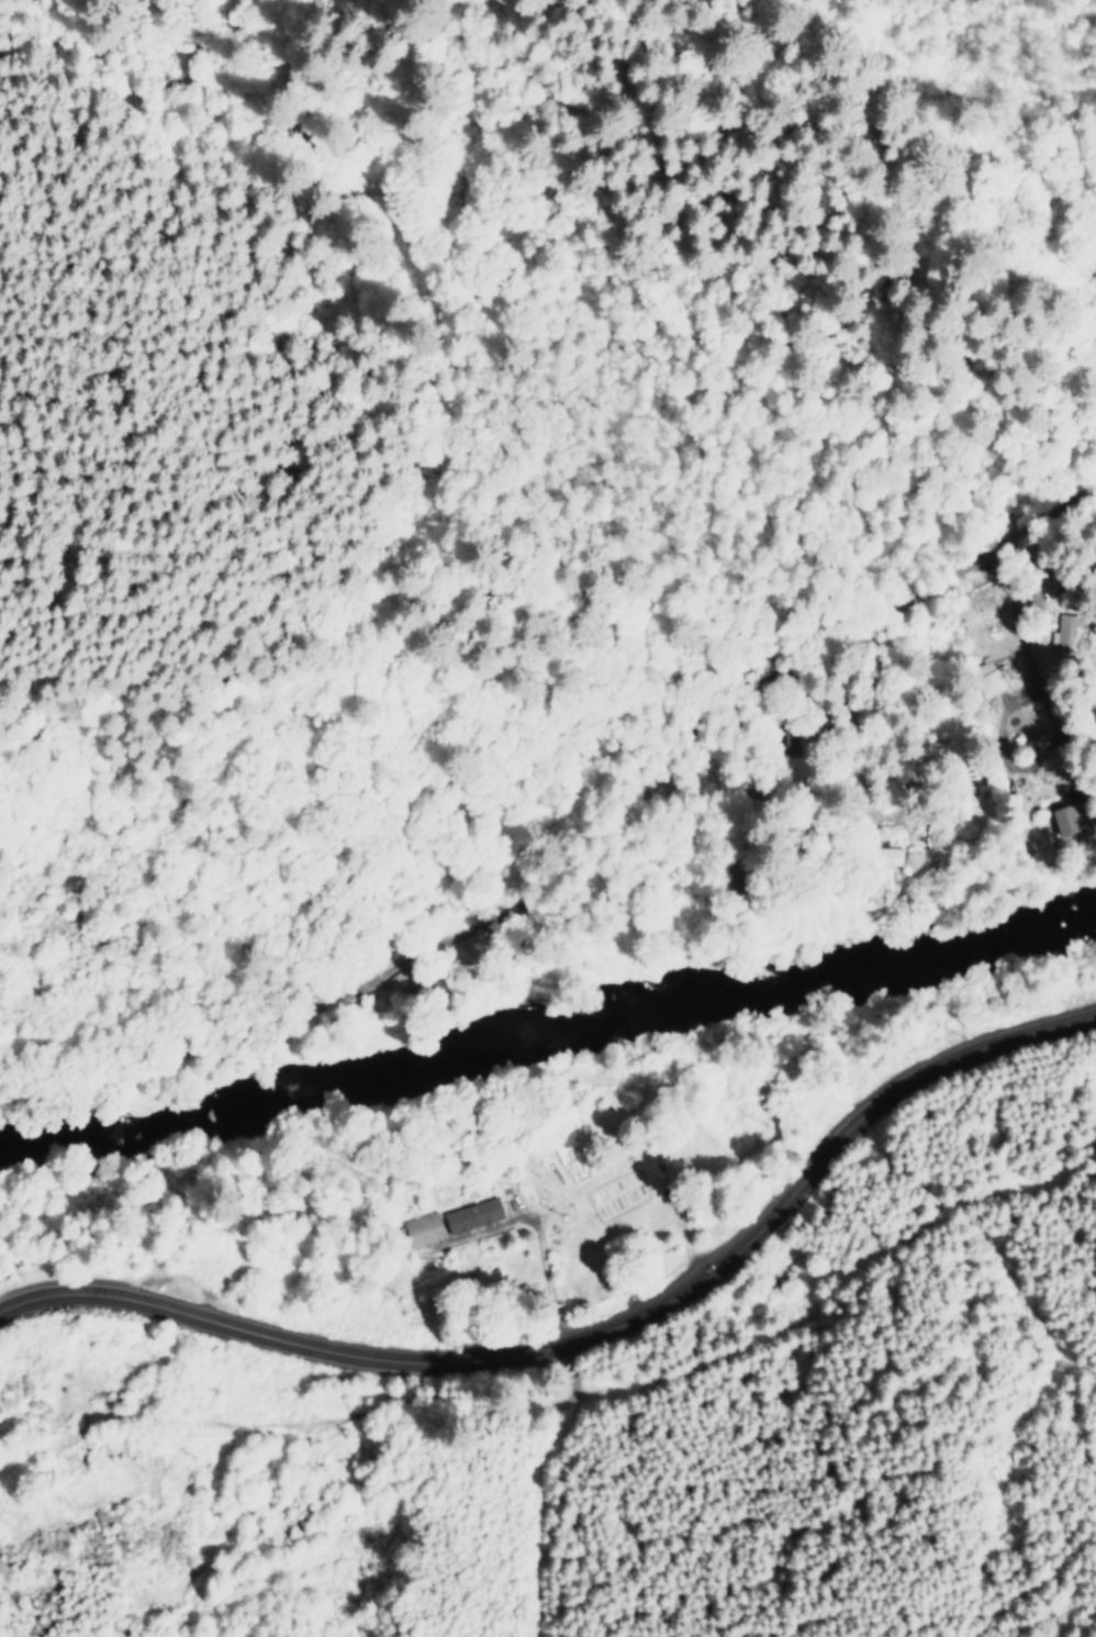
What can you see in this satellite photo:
building: (1062, 821)
road: (595, 862)
river: (547, 1034)
building: (469, 1215)
building: (420, 1229)
road: (594, 1333)

